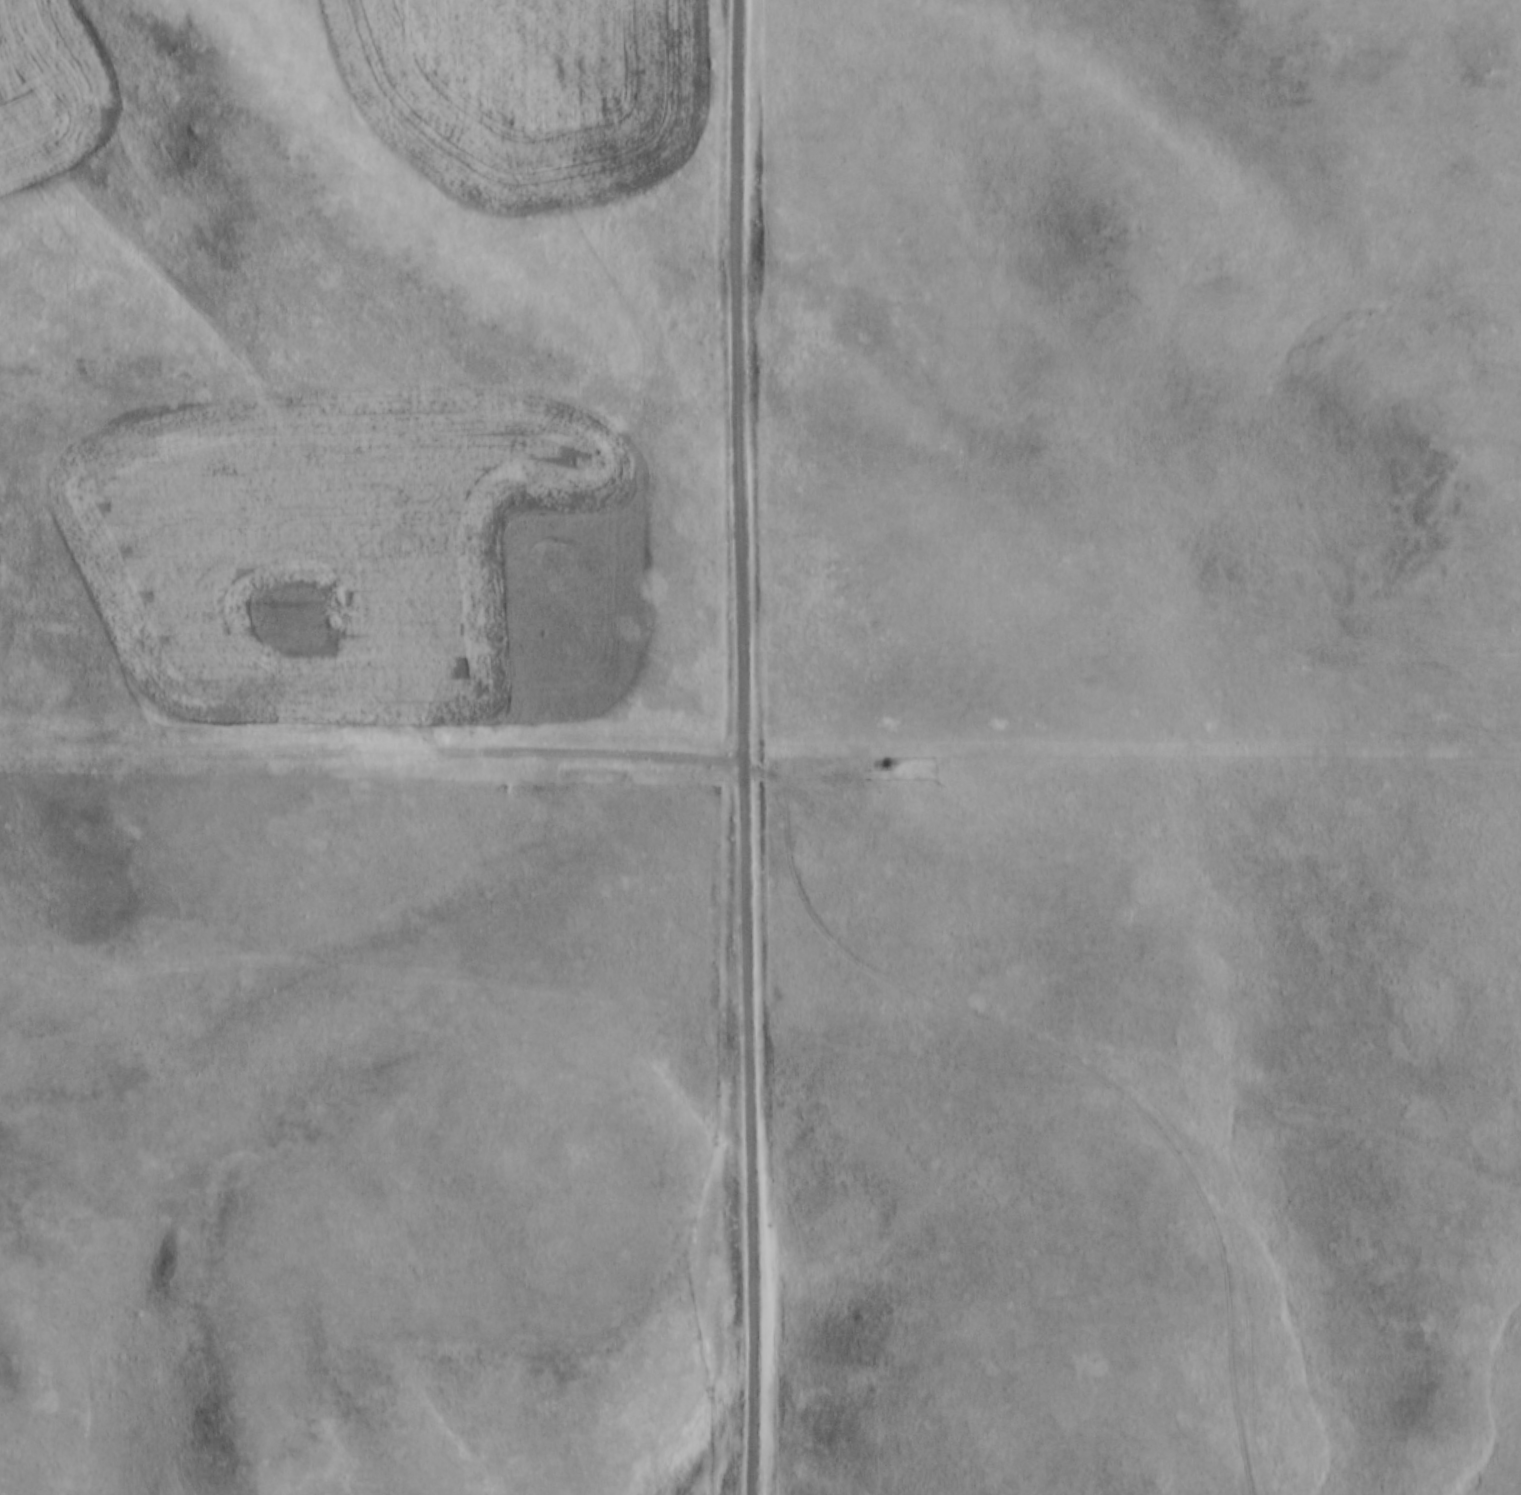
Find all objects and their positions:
road: (371, 746)
road: (741, 747)

